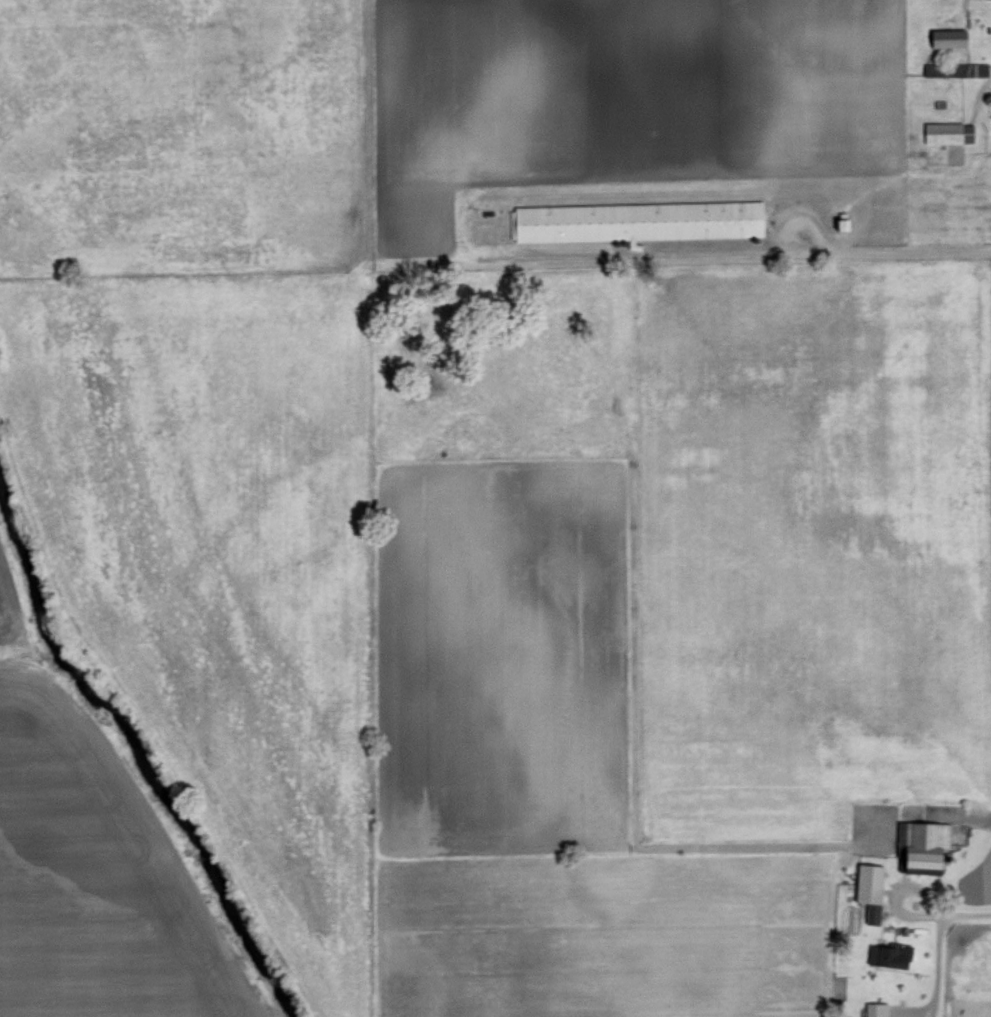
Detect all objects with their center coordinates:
building: (945, 36)
building: (928, 68)
building: (968, 68)
building: (946, 131)
building: (632, 220)
building: (838, 222)
road: (890, 251)
building: (920, 845)
building: (867, 889)
road: (959, 913)
building: (885, 954)
building: (874, 1009)

